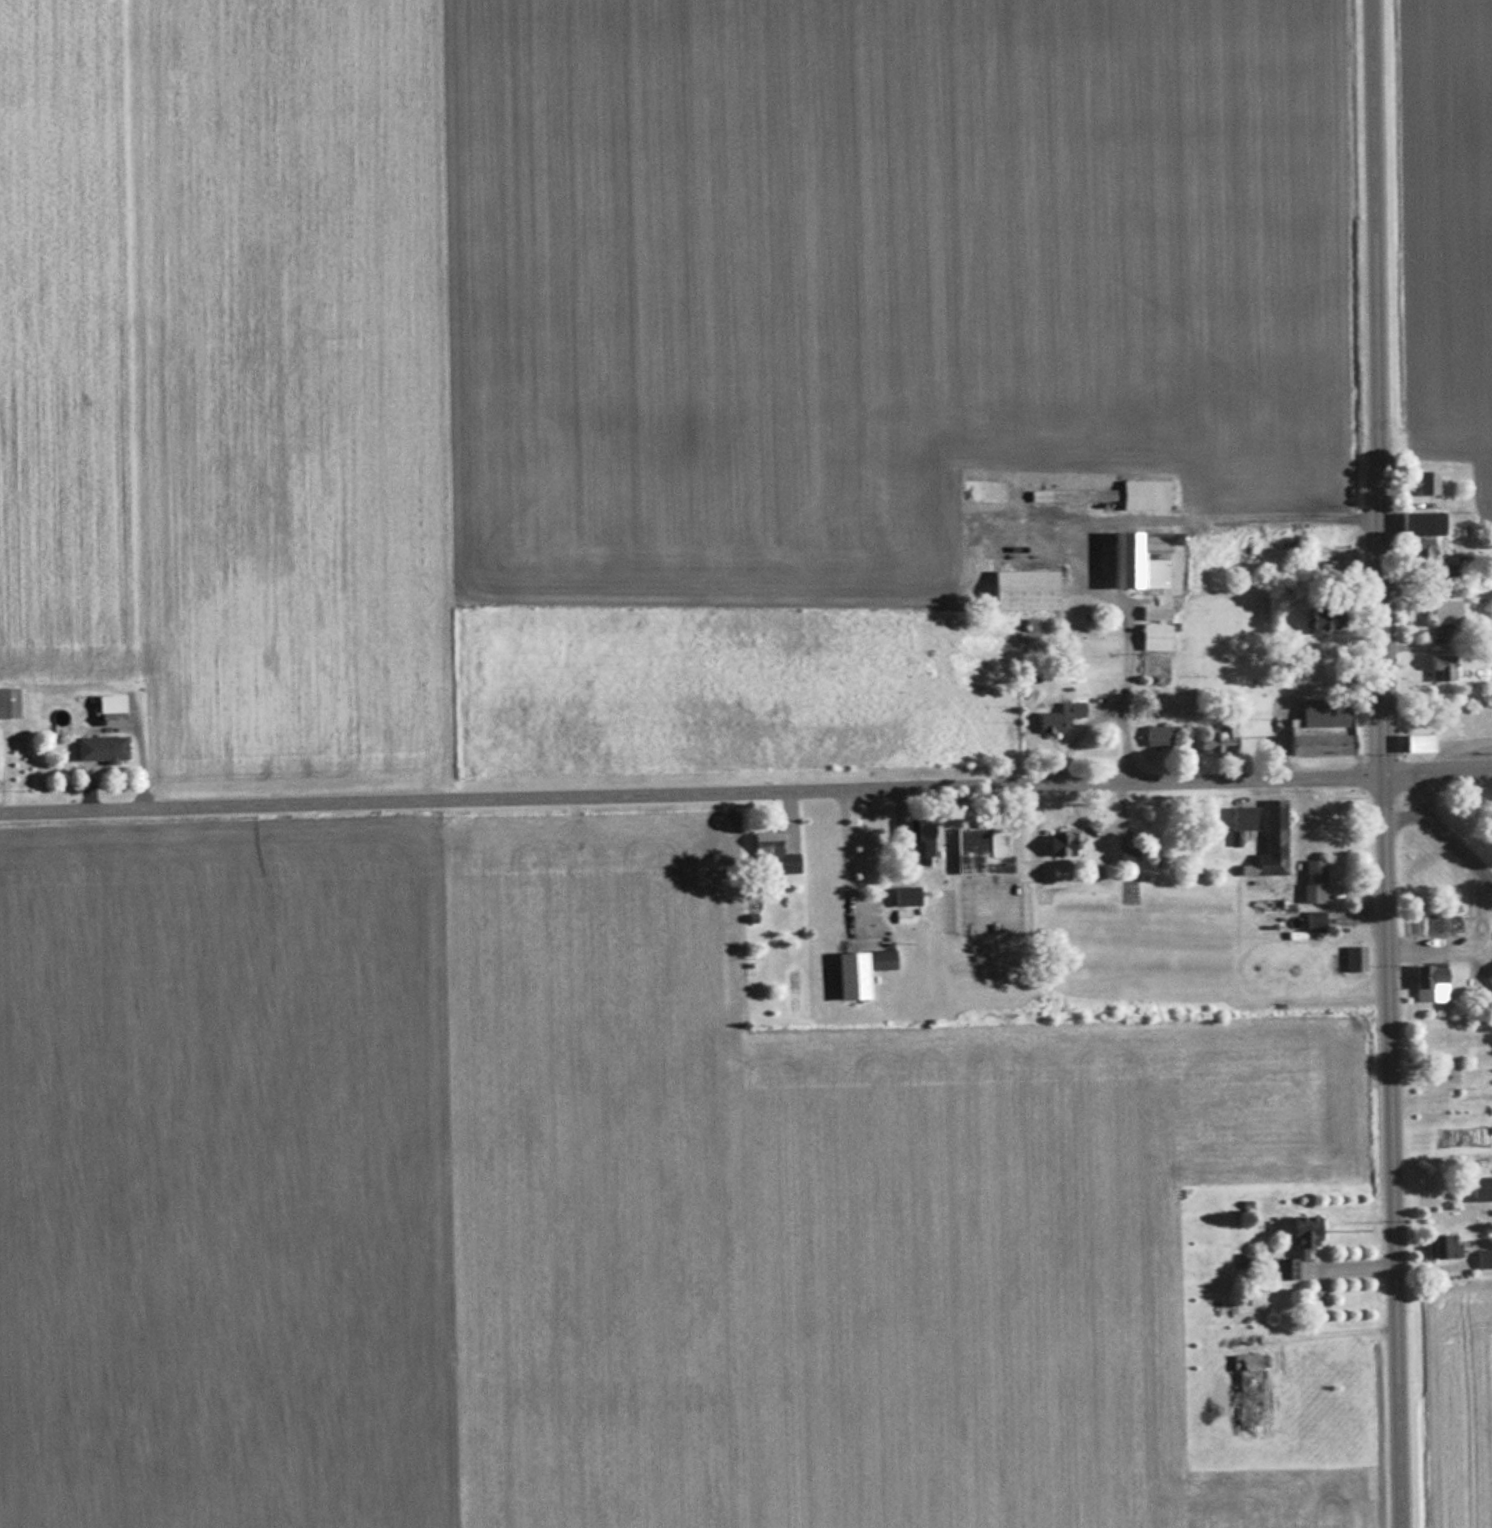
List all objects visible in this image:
building: (1424, 482)
building: (1142, 493)
building: (1070, 494)
building: (1417, 523)
building: (1418, 546)
building: (1336, 555)
building: (1137, 558)
building: (1021, 588)
building: (1444, 610)
building: (1153, 612)
building: (1318, 617)
road: (1128, 633)
building: (1153, 635)
building: (1439, 667)
building: (8, 702)
building: (107, 702)
building: (1057, 716)
building: (1318, 727)
building: (1156, 734)
building: (1216, 739)
building: (1413, 742)
building: (99, 748)
road: (1385, 763)
road: (745, 793)
building: (1248, 817)
road: (1439, 825)
building: (917, 840)
building: (1056, 844)
building: (979, 850)
building: (1275, 855)
building: (769, 856)
building: (1123, 856)
building: (1311, 880)
building: (904, 895)
building: (900, 914)
building: (1312, 921)
building: (1352, 958)
building: (848, 974)
building: (1489, 976)
building: (1427, 982)
building: (1451, 1075)
building: (1479, 1187)
building: (1294, 1244)
building: (1439, 1246)
building: (1482, 1258)
building: (1242, 1387)

